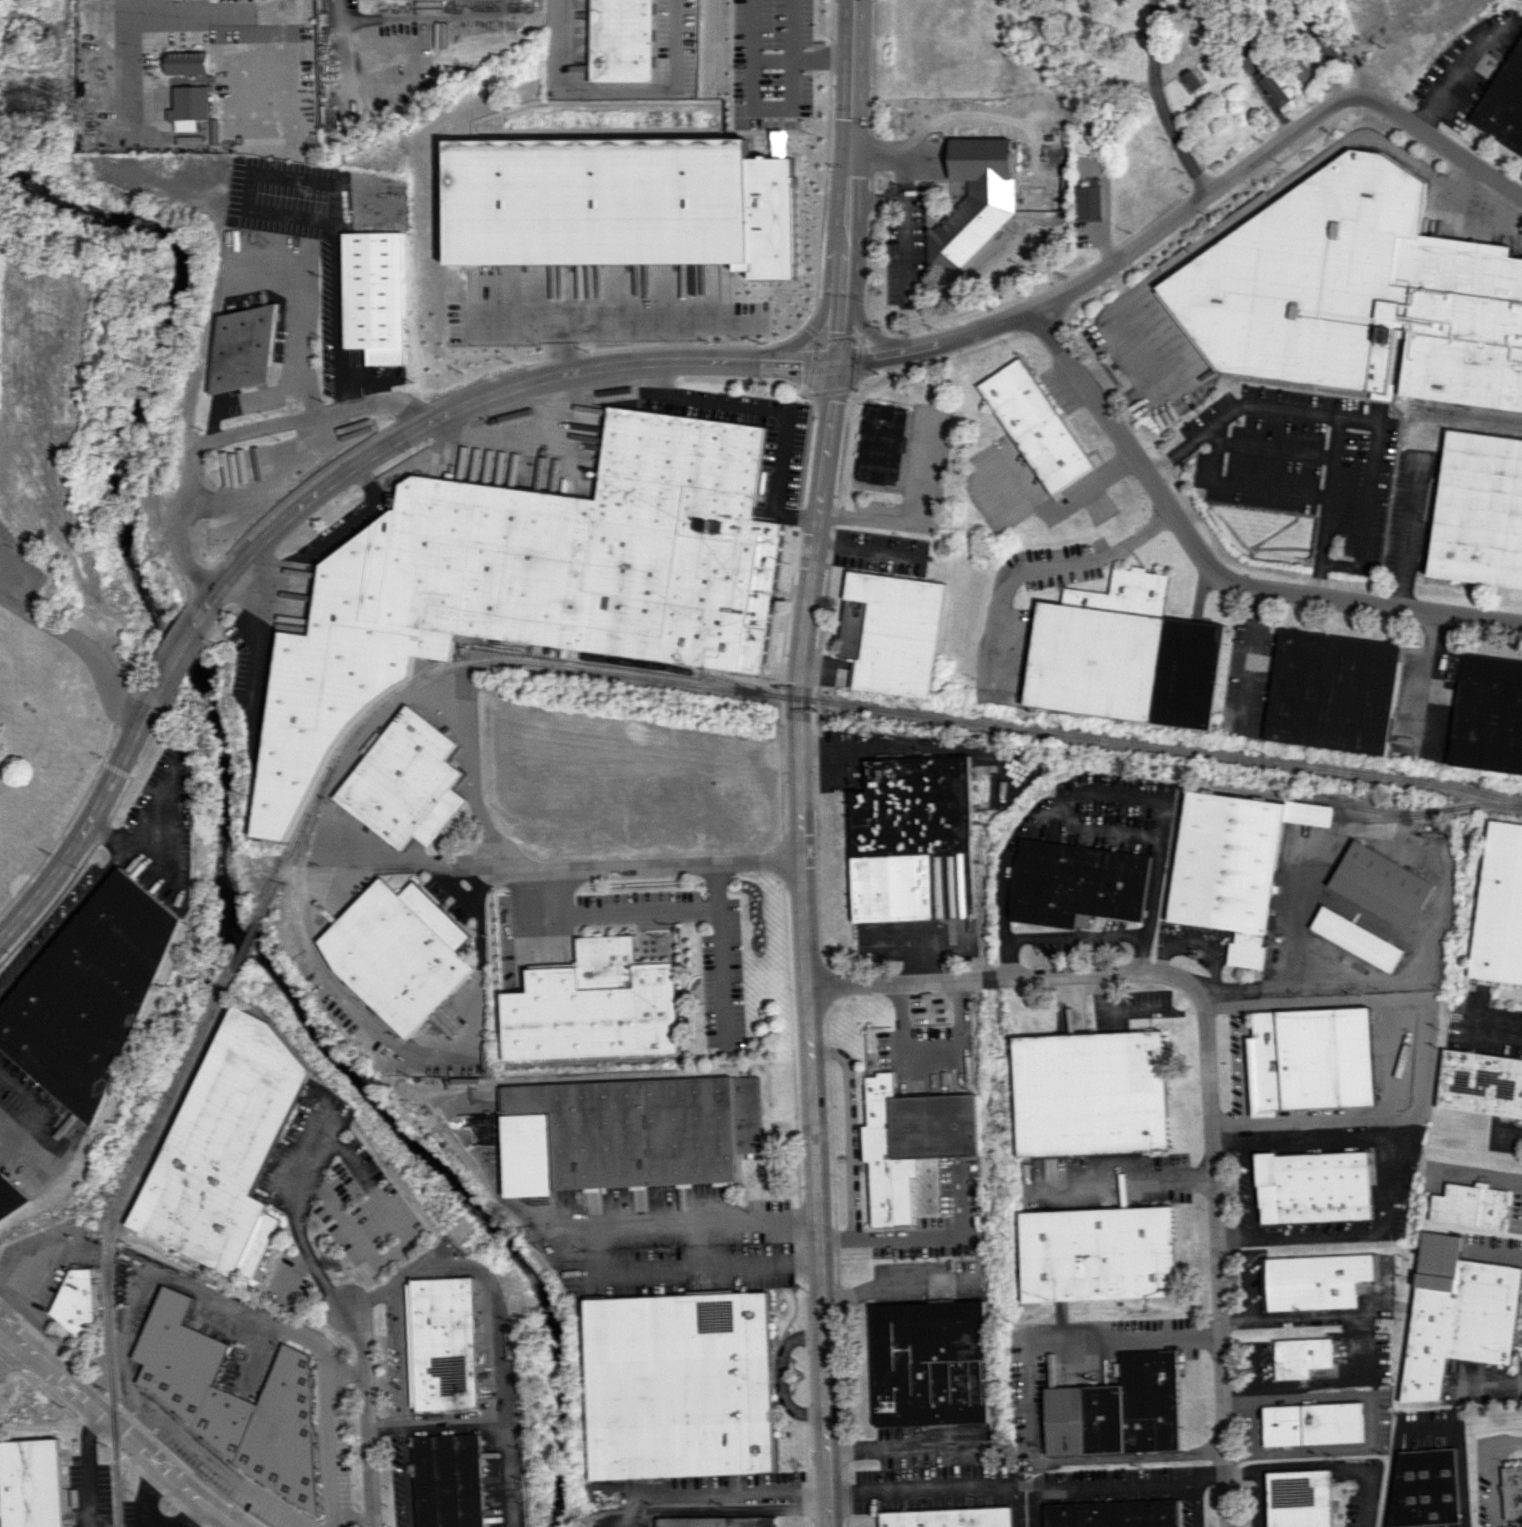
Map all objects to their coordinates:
road: (150, 12)
road: (792, 29)
road: (755, 30)
road: (337, 37)
building: (622, 40)
road: (822, 58)
road: (773, 59)
building: (187, 62)
building: (1301, 71)
building: (1192, 80)
road: (618, 87)
building: (1275, 89)
road: (1158, 101)
building: (190, 106)
building: (1504, 106)
road: (773, 107)
road: (937, 118)
road: (1440, 143)
road: (881, 200)
building: (972, 200)
building: (1089, 200)
building: (621, 203)
road: (904, 249)
road: (1109, 258)
building: (1355, 294)
building: (374, 295)
road: (522, 317)
road: (624, 320)
road: (340, 327)
building: (245, 348)
traffic signals: (836, 364)
road: (475, 400)
road: (774, 413)
railway: (1462, 413)
road: (1355, 421)
building: (1034, 425)
road: (234, 434)
road: (526, 438)
building: (881, 443)
road: (274, 482)
road: (1237, 484)
road: (1326, 490)
road: (1060, 506)
building: (1478, 511)
road: (915, 516)
road: (1405, 529)
road: (1045, 565)
road: (1211, 572)
road: (20, 574)
building: (529, 584)
building: (889, 632)
road: (78, 646)
building: (1123, 655)
road: (1249, 655)
road: (176, 660)
road: (1428, 664)
railway: (677, 668)
building: (1331, 692)
railway: (824, 701)
building: (1488, 715)
road: (797, 762)
road: (472, 771)
building: (406, 781)
road: (1095, 789)
road: (161, 805)
railway: (1361, 808)
railway: (1392, 818)
road: (91, 826)
road: (107, 831)
building: (913, 840)
road: (151, 853)
road: (388, 857)
building: (1233, 865)
road: (649, 866)
building: (1078, 883)
building: (1381, 884)
building: (1500, 907)
road: (606, 912)
railway: (305, 917)
road: (64, 921)
building: (1083, 921)
road: (1074, 935)
building: (1357, 938)
road: (1194, 941)
railway: (244, 945)
road: (719, 948)
railway: (303, 949)
building: (398, 952)
road: (1011, 977)
road: (1301, 983)
building: (91, 993)
building: (594, 1006)
road: (1219, 1006)
road: (1495, 1031)
road: (411, 1044)
road: (932, 1047)
building: (1309, 1059)
road: (1241, 1063)
road: (1419, 1069)
building: (1481, 1083)
building: (1088, 1093)
road: (1508, 1131)
building: (627, 1132)
road: (27, 1134)
building: (909, 1142)
building: (226, 1147)
road: (1392, 1176)
road: (1124, 1183)
railway: (99, 1186)
building: (1311, 1186)
road: (852, 1187)
road: (1244, 1187)
building: (9, 1195)
building: (1467, 1206)
road: (297, 1215)
road: (676, 1225)
railway: (108, 1234)
road: (836, 1240)
road: (405, 1241)
building: (1095, 1253)
road: (708, 1264)
road: (1212, 1267)
road: (486, 1271)
road: (296, 1273)
building: (1312, 1281)
road: (887, 1287)
road: (1241, 1287)
building: (77, 1302)
road: (238, 1303)
building: (1455, 1314)
road: (4, 1340)
building: (444, 1344)
road: (409, 1349)
building: (1298, 1357)
building: (930, 1363)
road: (348, 1372)
road: (782, 1374)
road: (1493, 1380)
building: (679, 1383)
road: (1293, 1384)
road: (1369, 1394)
road: (1307, 1395)
road: (1247, 1397)
building: (235, 1401)
road: (1031, 1401)
building: (1117, 1410)
road: (368, 1414)
road: (495, 1420)
building: (1310, 1423)
road: (114, 1424)
road: (133, 1426)
road: (1426, 1428)
road: (1506, 1441)
road: (908, 1449)
road: (1321, 1464)
road: (87, 1467)
road: (225, 1470)
road: (410, 1475)
road: (1208, 1478)
building: (451, 1481)
building: (32, 1483)
road: (1122, 1485)
road: (1493, 1487)
building: (1424, 1488)
road: (921, 1489)
building: (1512, 1492)
road: (733, 1493)
road: (1257, 1497)
building: (1297, 1497)
road: (145, 1498)
road: (1016, 1505)
building: (1113, 1514)
road: (191, 1515)
building: (949, 1518)
building: (720, 1521)

